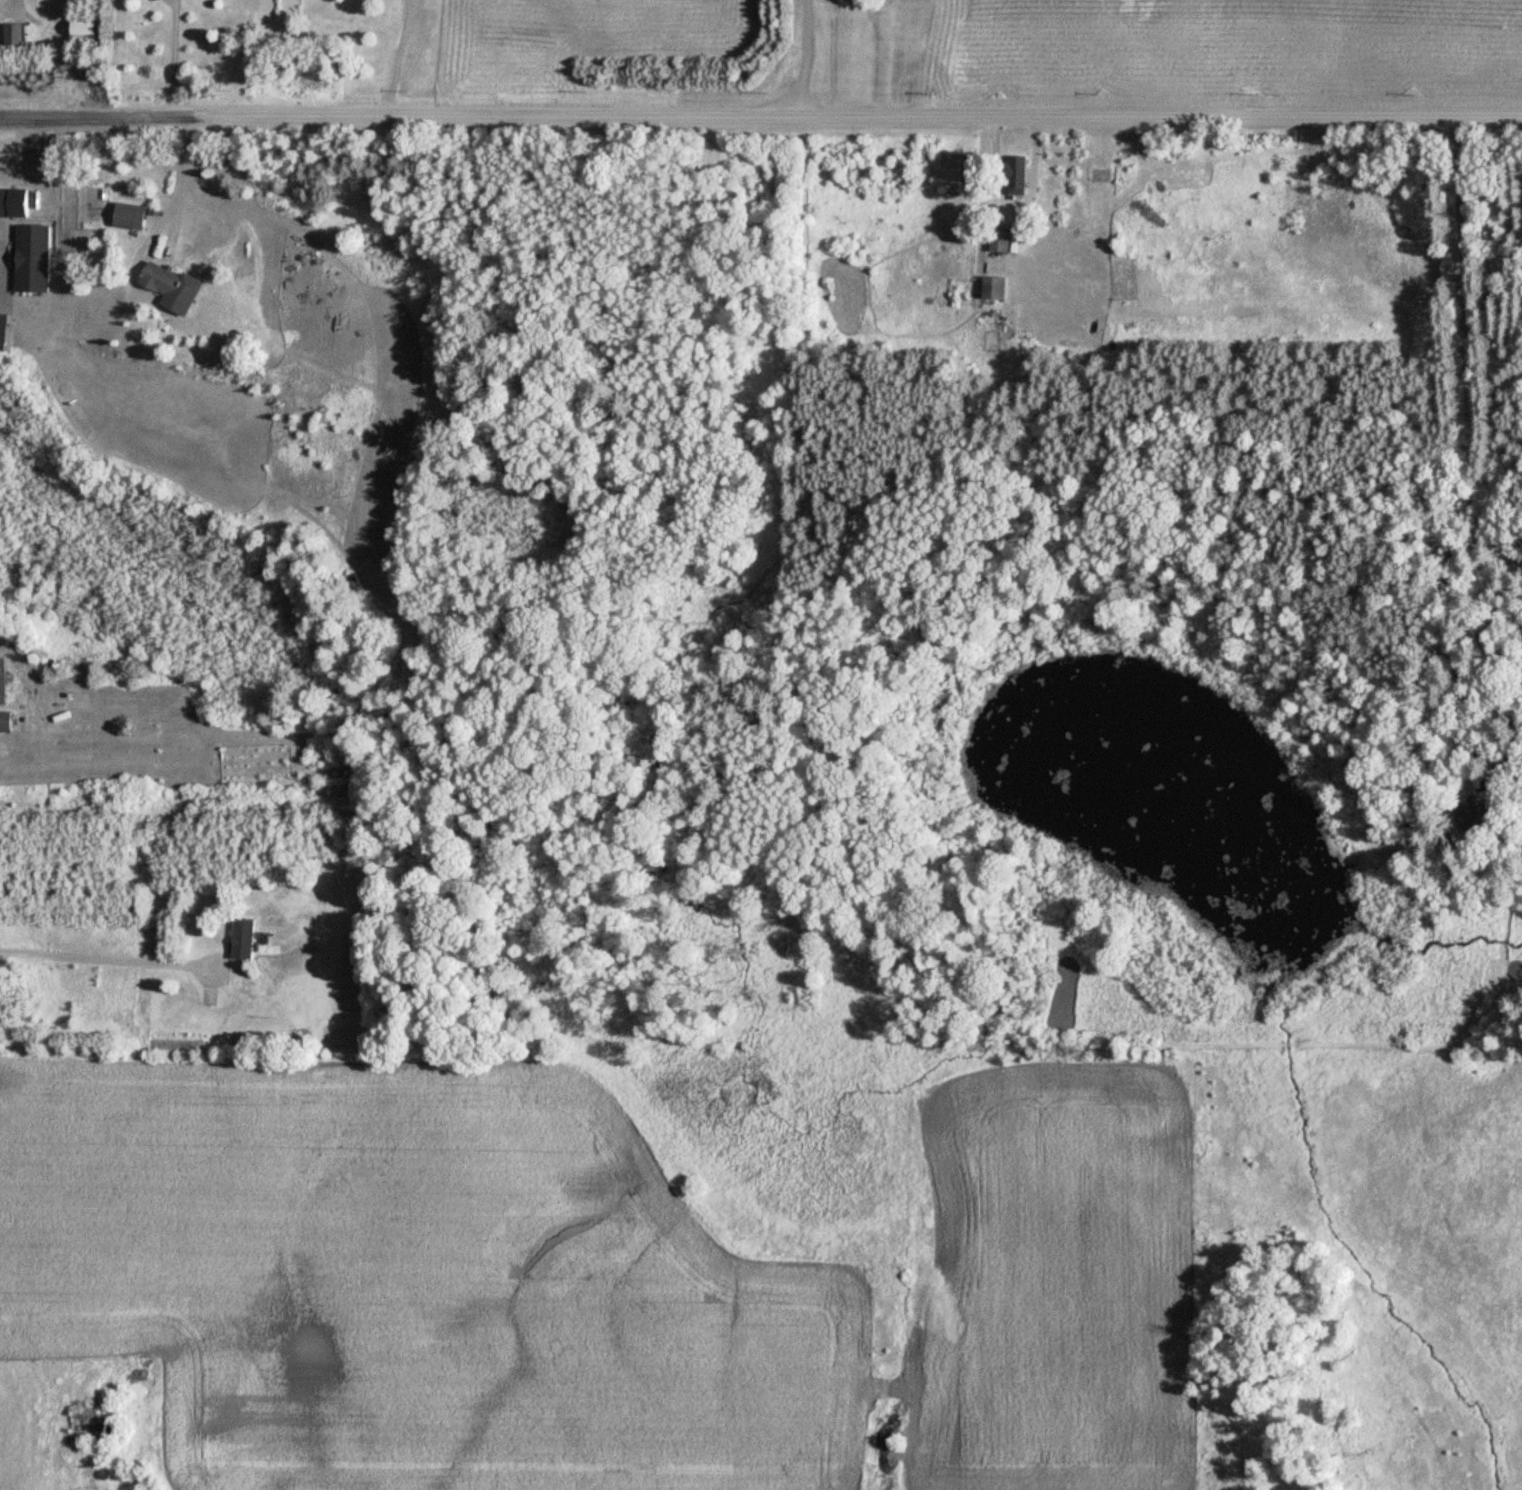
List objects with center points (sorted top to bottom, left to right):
building: (85, 28)
building: (15, 34)
road: (761, 107)
building: (1019, 176)
building: (14, 202)
building: (132, 216)
building: (1006, 240)
building: (33, 258)
building: (163, 280)
building: (998, 289)
road: (1471, 433)
building: (3, 679)
building: (6, 720)
building: (1474, 816)
building: (246, 940)
building: (173, 1042)
building: (89, 1425)

